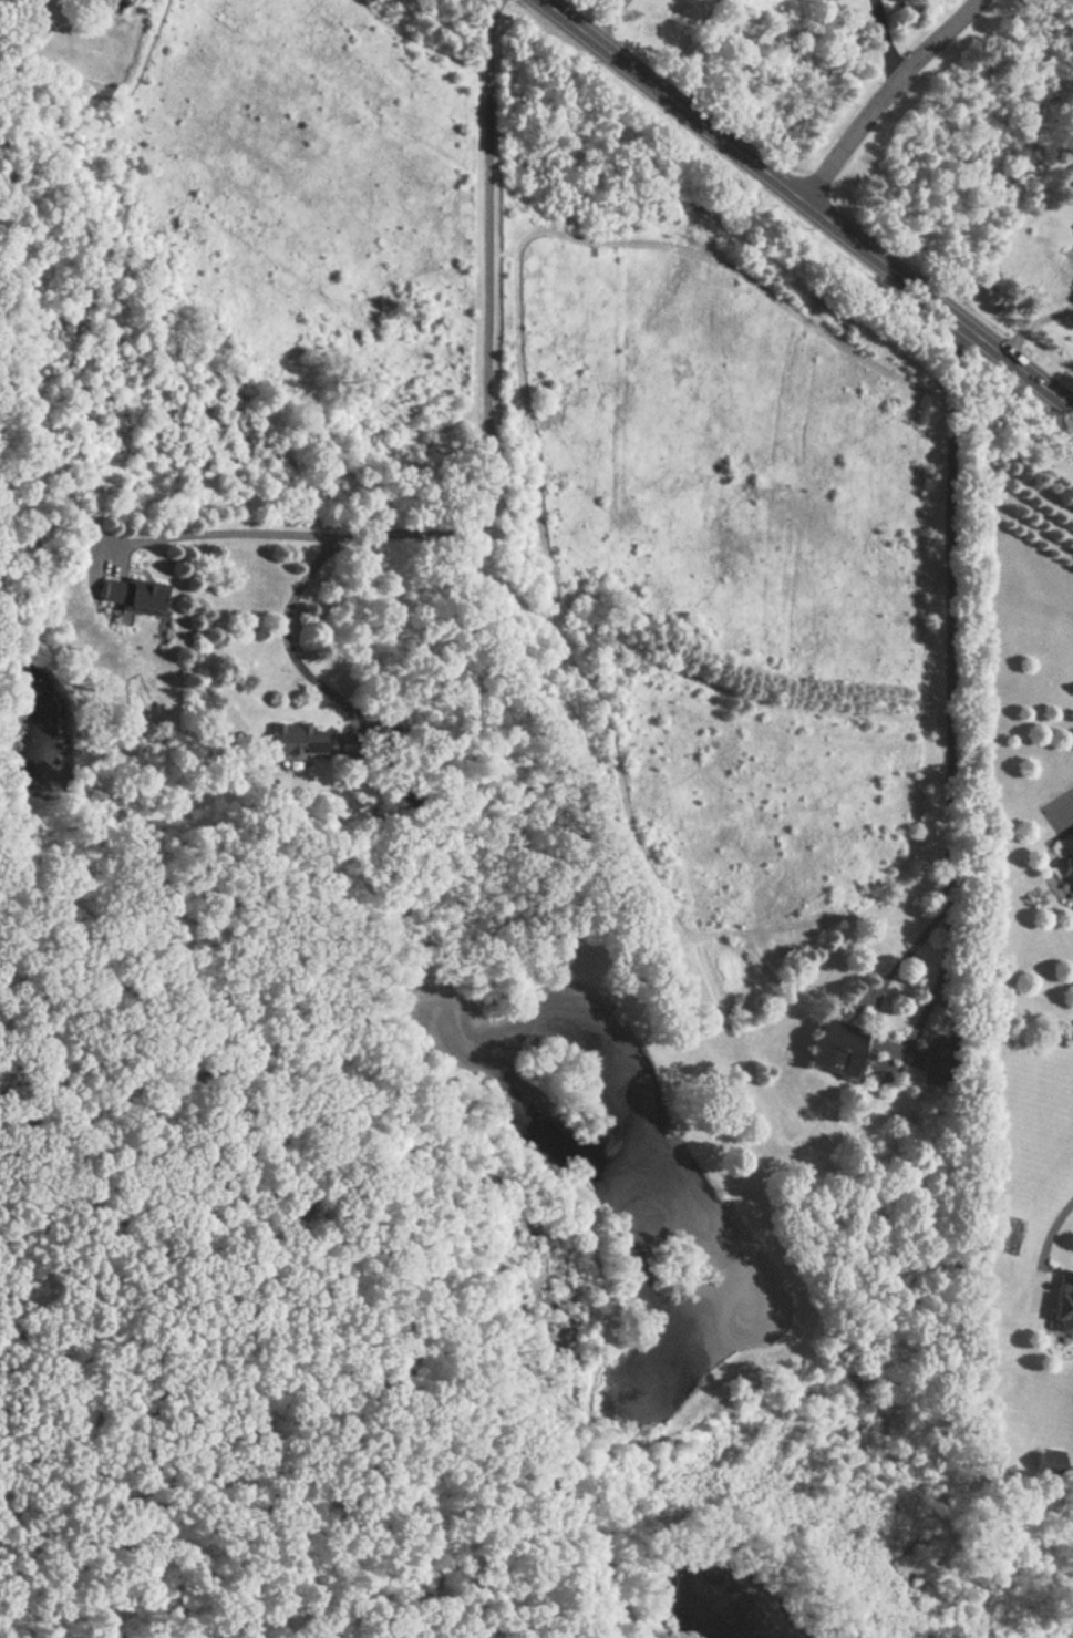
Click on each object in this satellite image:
road: (608, 20)
road: (886, 42)
road: (888, 101)
road: (807, 205)
building: (1072, 228)
road: (1034, 326)
road: (491, 435)
building: (131, 597)
road: (286, 628)
building: (295, 739)
road: (948, 786)
road: (1067, 794)
building: (1064, 849)
building: (834, 1048)
building: (930, 1059)
road: (1052, 1232)
building: (1057, 1298)
building: (1048, 1462)

